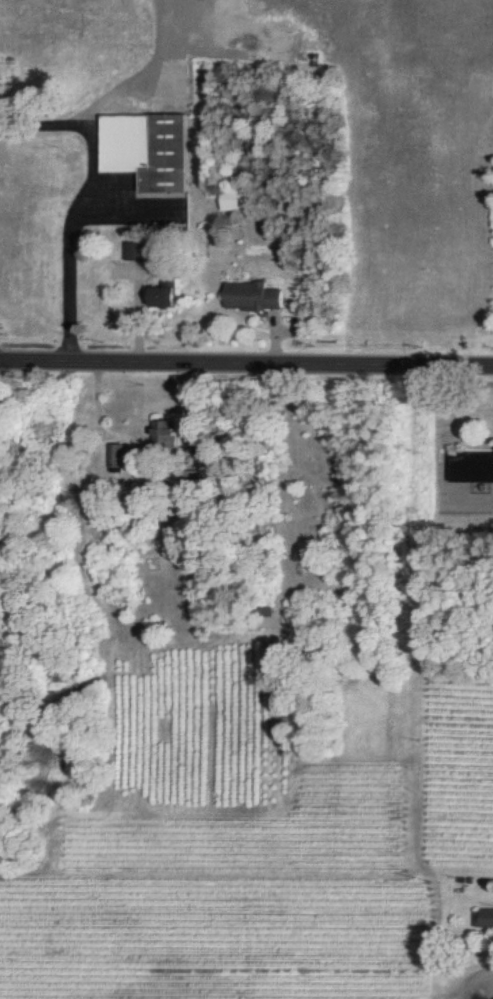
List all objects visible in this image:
building: (148, 149)
road: (86, 195)
building: (238, 202)
building: (135, 251)
building: (167, 295)
building: (254, 297)
road: (246, 365)
building: (164, 437)
building: (117, 459)
building: (473, 468)
building: (484, 917)
road: (476, 984)

